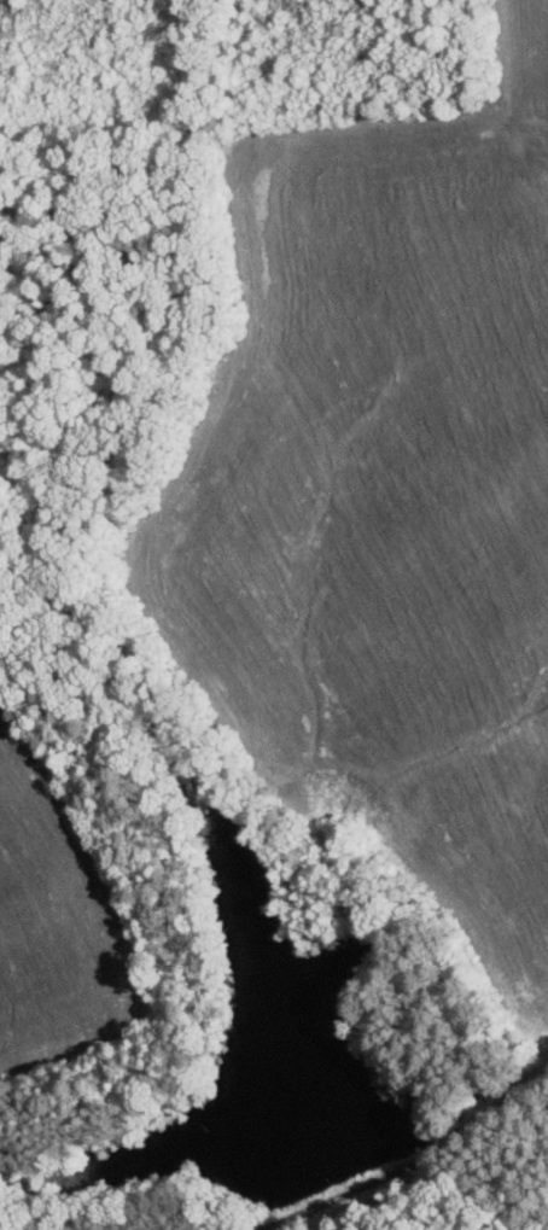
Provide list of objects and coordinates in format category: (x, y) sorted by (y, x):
road: (404, 1165)

